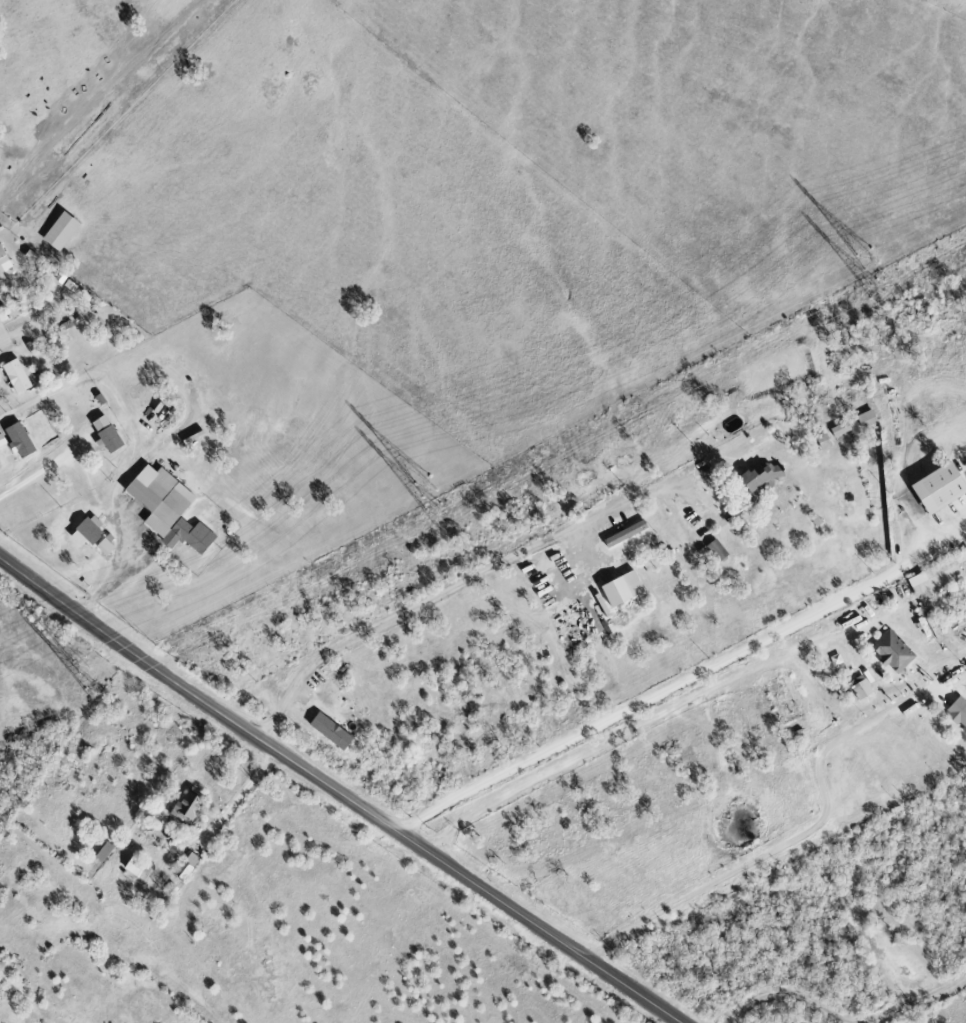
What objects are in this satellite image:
building: (61, 231)
building: (4, 260)
power tower: (874, 260)
power tower: (877, 288)
building: (1, 293)
building: (17, 376)
building: (868, 417)
building: (842, 428)
building: (108, 434)
building: (2, 440)
building: (20, 440)
road: (136, 449)
road: (43, 472)
building: (762, 477)
building: (941, 486)
power tower: (431, 487)
building: (169, 508)
power tower: (440, 513)
building: (92, 530)
building: (937, 574)
road: (456, 587)
building: (624, 588)
road: (874, 621)
building: (894, 651)
power tower: (86, 665)
road: (674, 688)
building: (862, 689)
power tower: (98, 691)
building: (959, 711)
road: (656, 716)
building: (333, 730)
road: (337, 792)
building: (189, 806)
road: (231, 810)
road: (792, 844)
building: (105, 852)
building: (188, 865)
building: (136, 866)
road: (785, 997)
road: (919, 1003)

